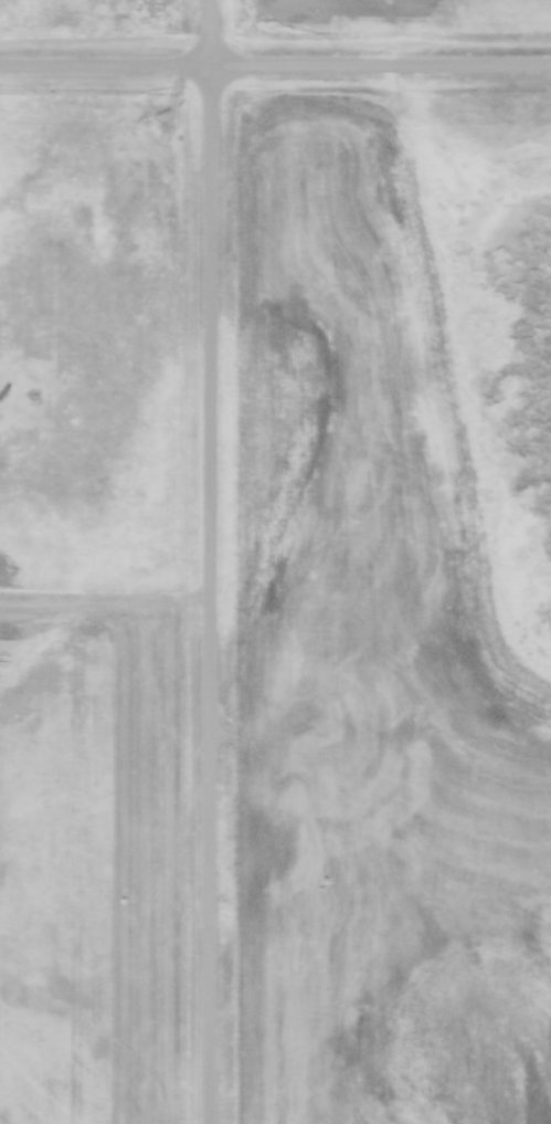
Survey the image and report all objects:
road: (275, 64)
road: (211, 561)

